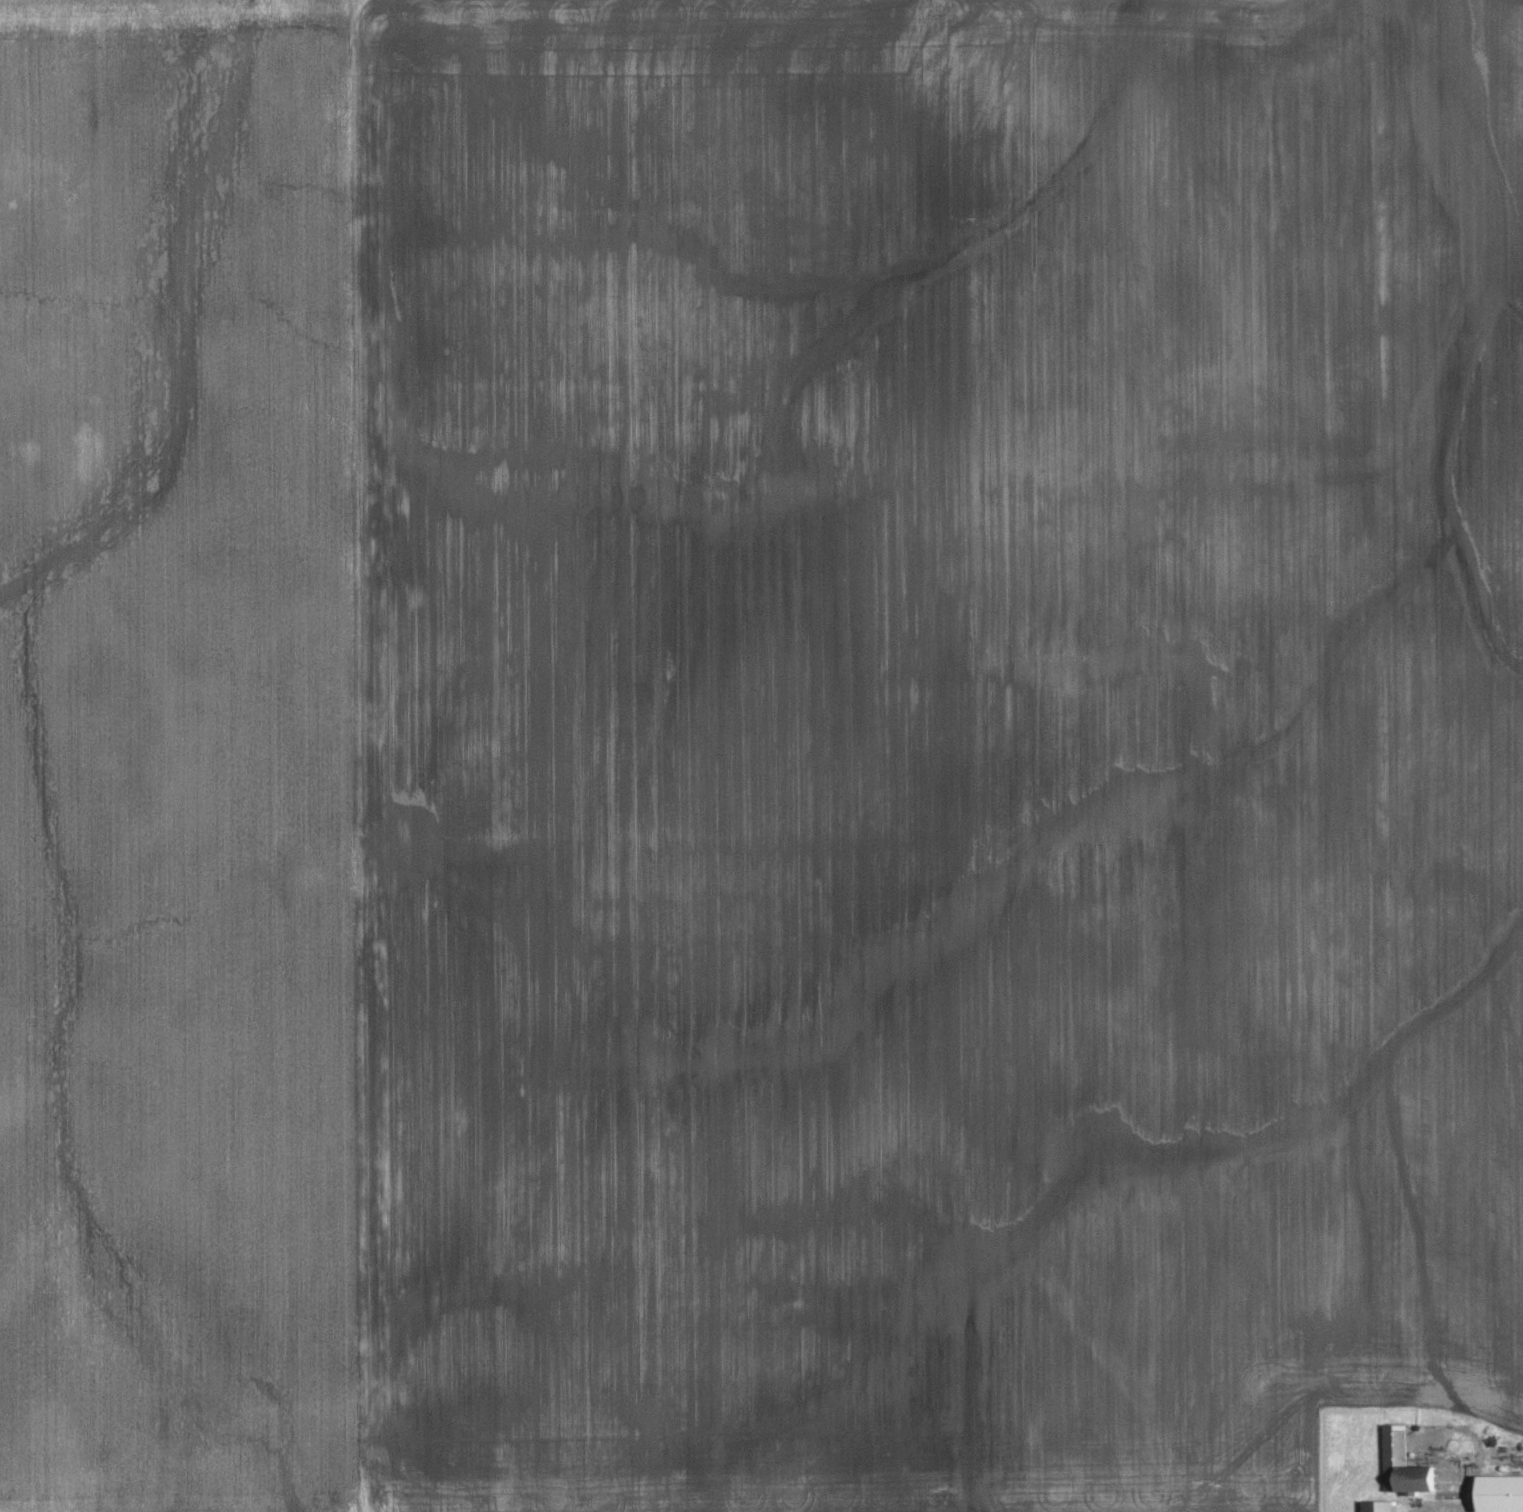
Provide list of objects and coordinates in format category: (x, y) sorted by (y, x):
building: (1407, 1463)
building: (1503, 1493)
building: (1382, 1505)

